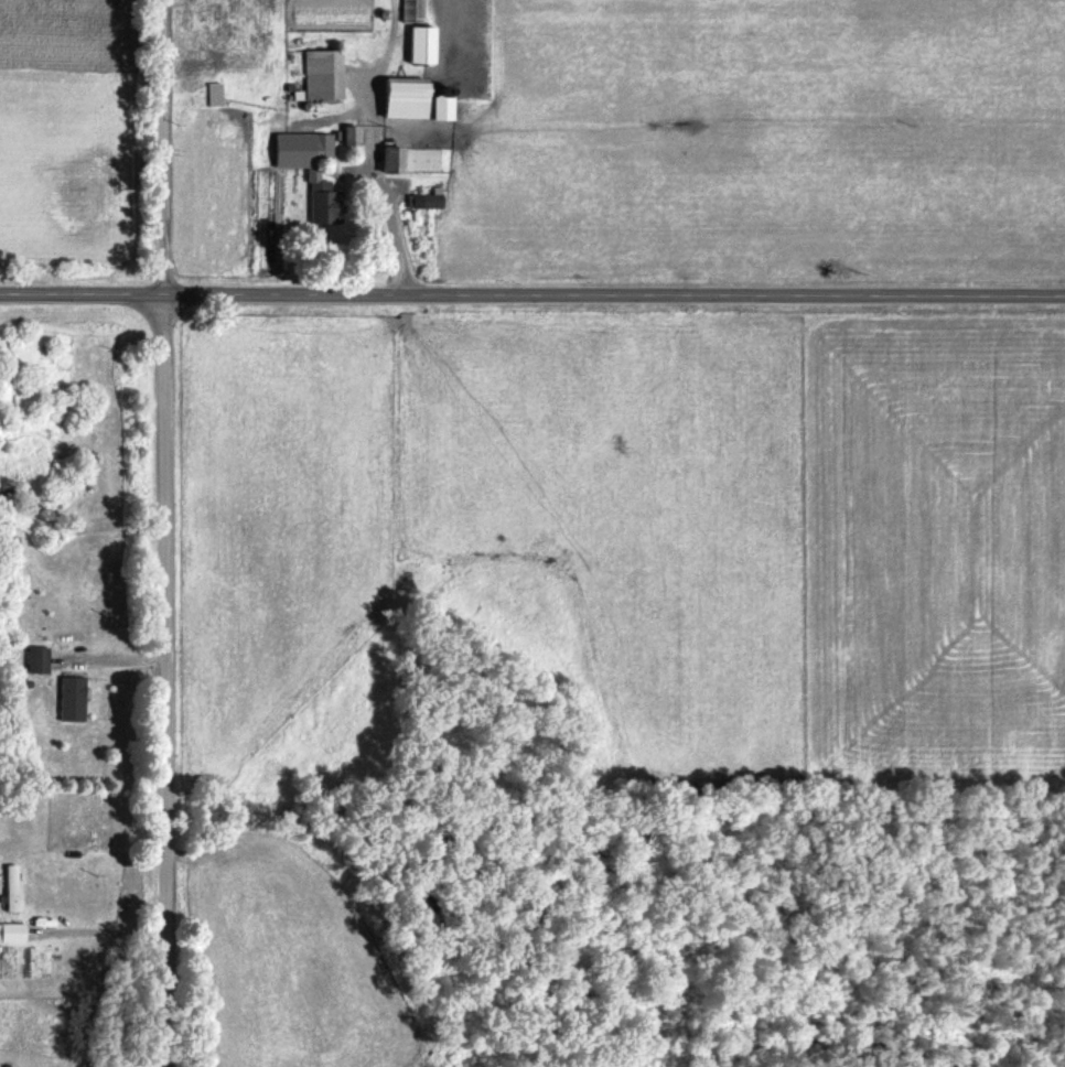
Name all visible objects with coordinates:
building: (409, 11)
building: (322, 75)
building: (213, 96)
building: (398, 100)
building: (347, 137)
building: (316, 147)
building: (390, 160)
building: (315, 201)
building: (421, 204)
road: (532, 290)
road: (163, 533)
building: (41, 665)
building: (74, 699)
building: (12, 890)
road: (98, 931)

